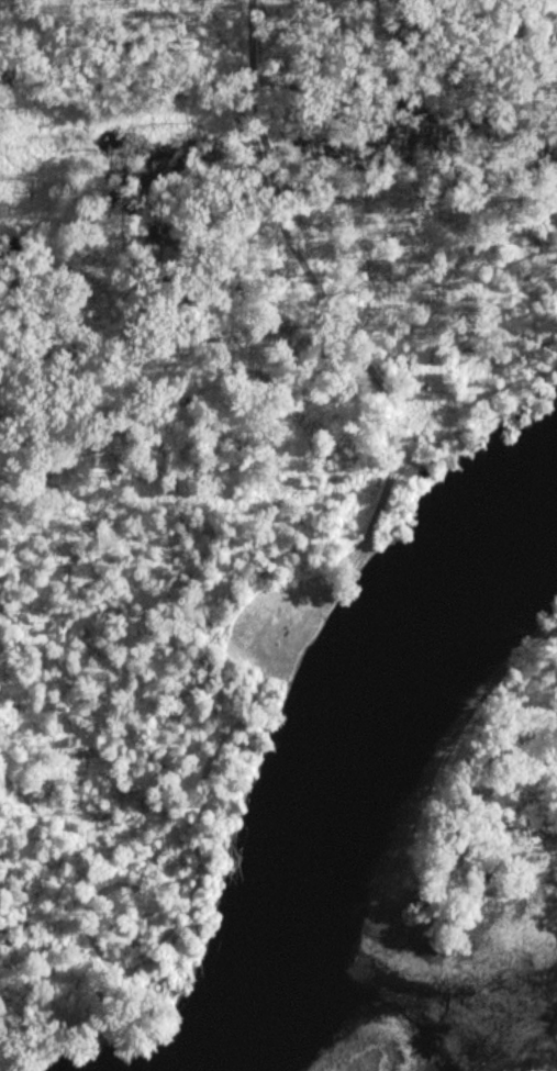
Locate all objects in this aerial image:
river: (357, 772)

